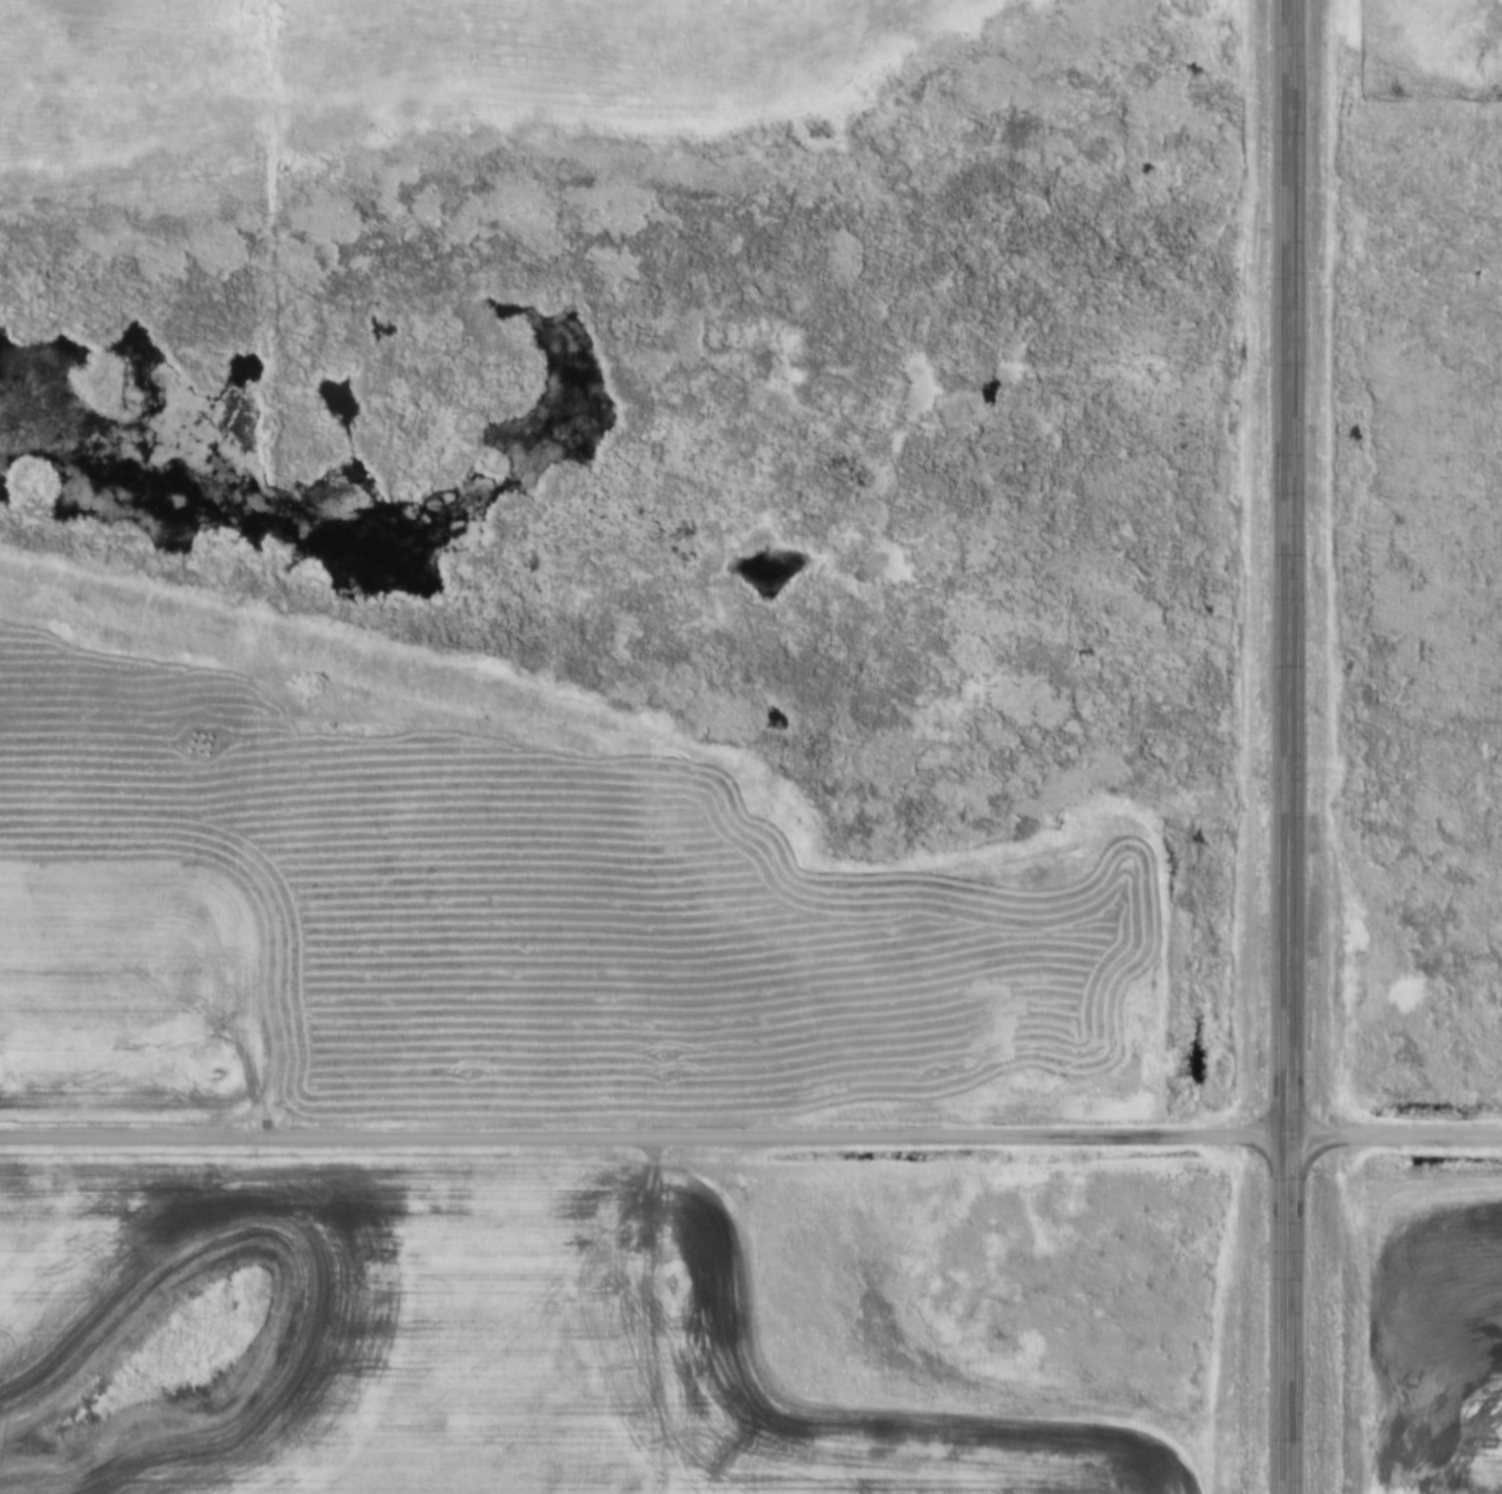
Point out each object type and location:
road: (1287, 746)
road: (751, 1131)

